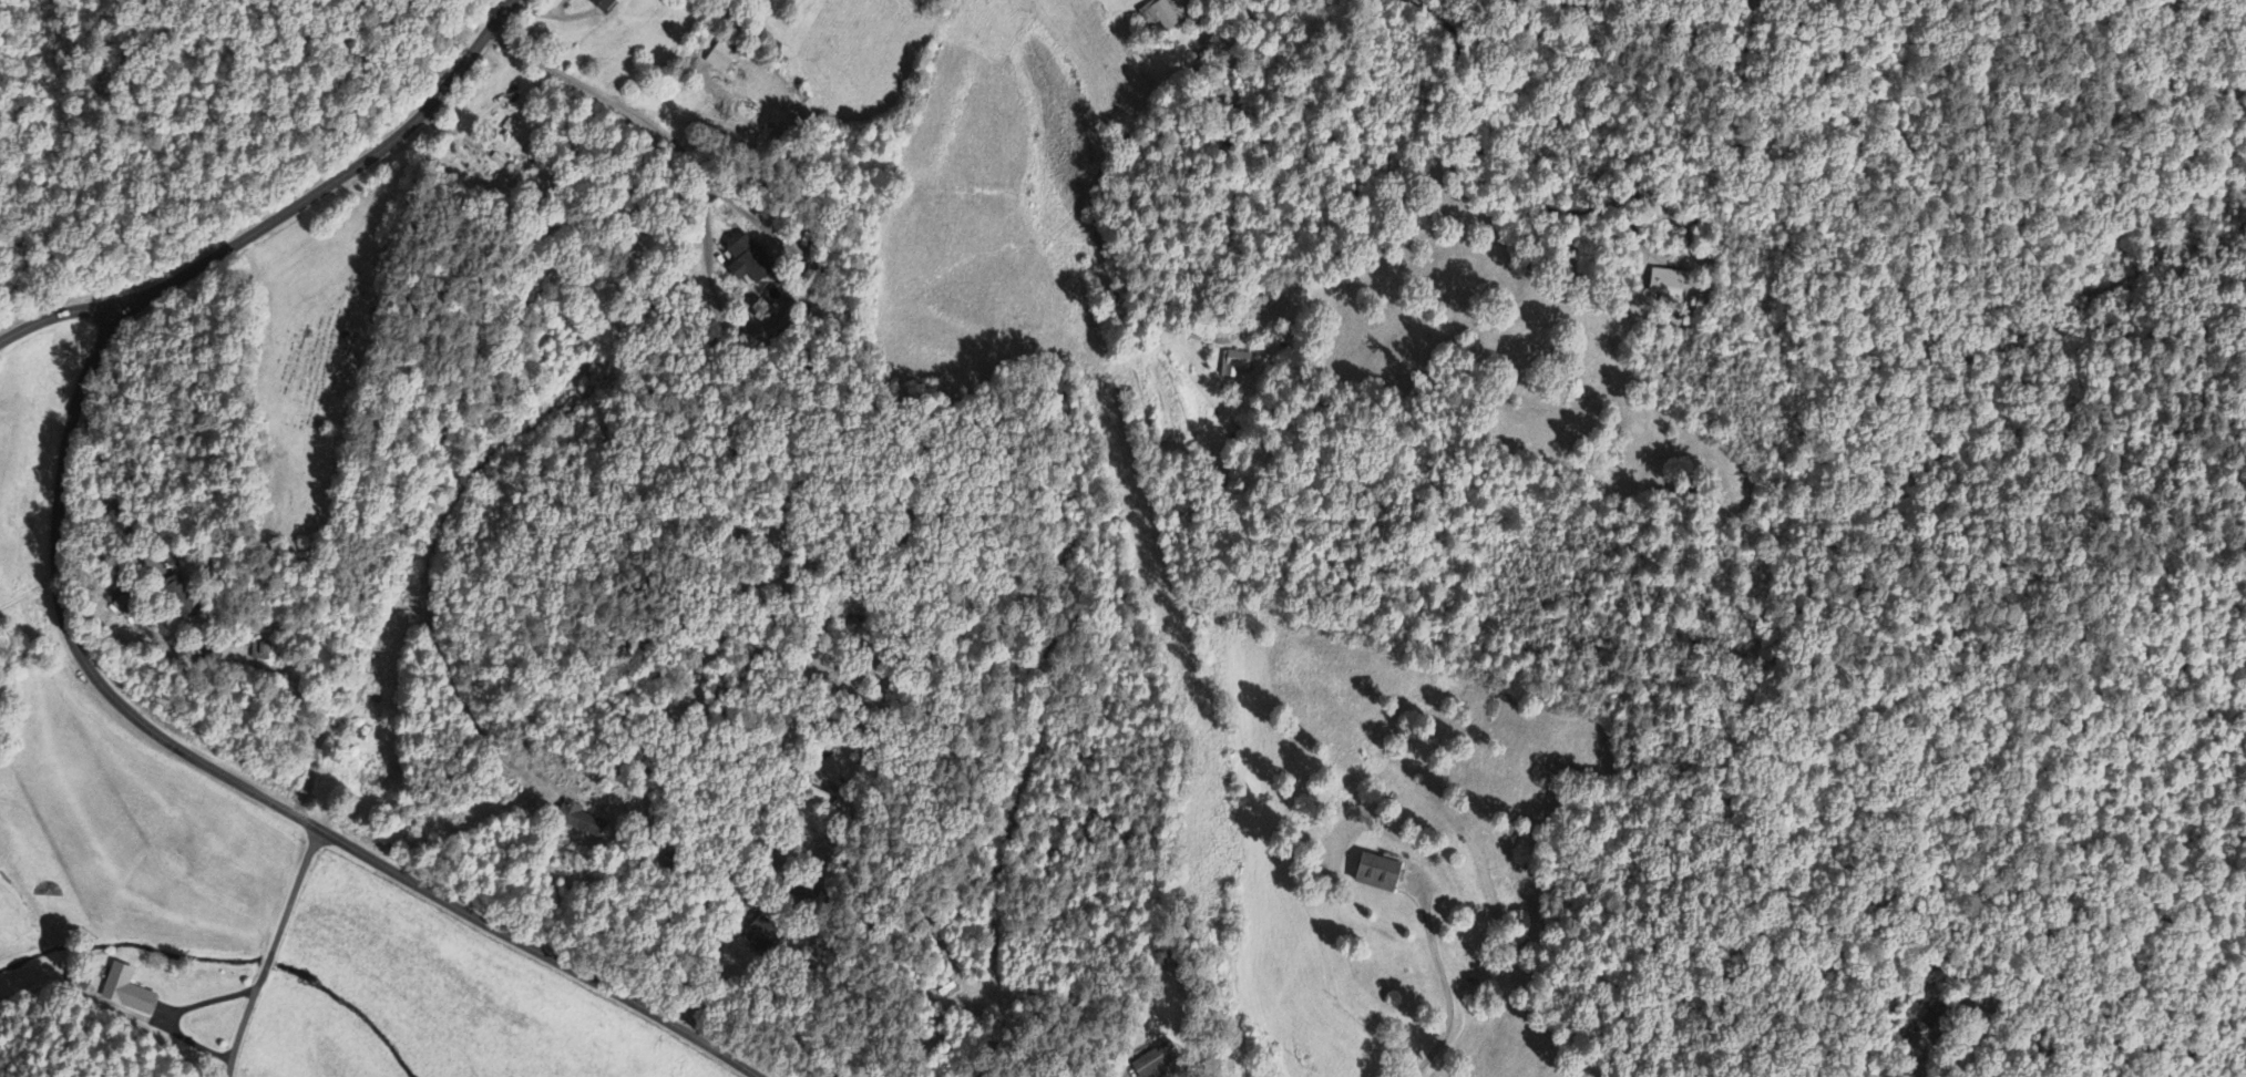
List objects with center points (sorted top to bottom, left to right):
building: (789, 0)
building: (599, 4)
building: (1160, 14)
building: (717, 61)
building: (745, 263)
building: (1665, 284)
road: (55, 315)
building: (1235, 365)
park: (310, 370)
building: (176, 599)
road: (65, 627)
building: (581, 823)
building: (1374, 875)
road: (269, 952)
building: (125, 992)
building: (1153, 1060)

